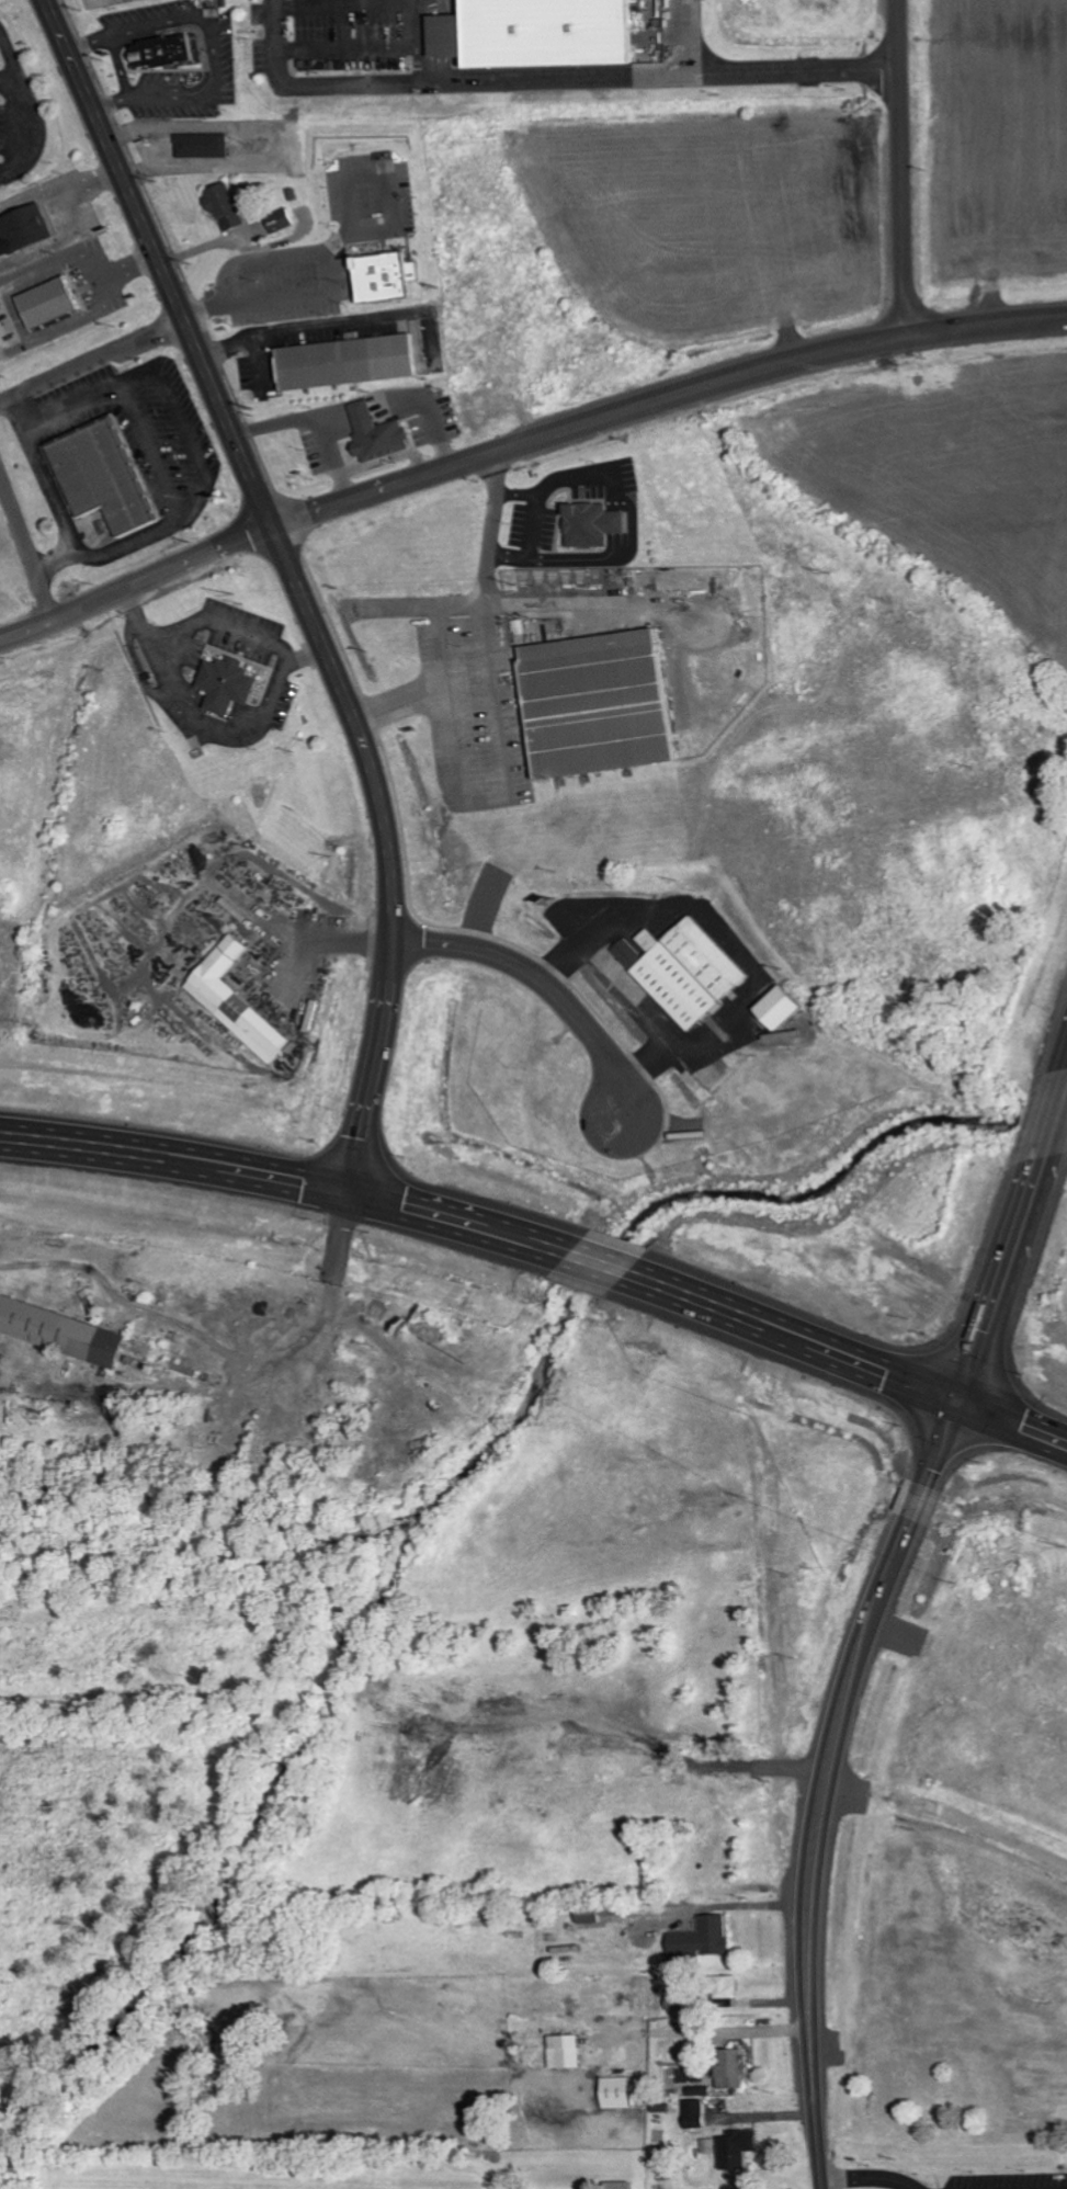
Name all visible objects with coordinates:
road: (348, 5)
building: (554, 31)
building: (453, 34)
road: (421, 42)
road: (348, 48)
building: (159, 50)
road: (795, 73)
road: (12, 79)
road: (476, 80)
road: (80, 81)
road: (35, 109)
building: (201, 145)
road: (901, 169)
building: (222, 205)
building: (279, 220)
building: (22, 229)
building: (378, 276)
building: (45, 302)
road: (91, 361)
building: (343, 361)
road: (663, 399)
building: (376, 434)
building: (98, 476)
building: (592, 524)
road: (287, 563)
road: (135, 576)
road: (137, 591)
building: (224, 684)
building: (592, 703)
road: (419, 941)
building: (681, 971)
road: (563, 995)
building: (235, 1002)
building: (775, 1008)
road: (374, 1081)
road: (1055, 1120)
road: (177, 1156)
traffic signals: (353, 1186)
road: (429, 1207)
road: (537, 1240)
road: (600, 1260)
road: (1002, 1279)
building: (59, 1332)
road: (795, 1334)
traffic signals: (962, 1402)
road: (1014, 1421)
road: (944, 1442)
road: (921, 1498)
road: (907, 1530)
road: (813, 1861)
building: (586, 1916)
building: (700, 1939)
building: (722, 1987)
building: (563, 2051)
building: (729, 2069)
building: (614, 2092)
building: (693, 2113)
building: (730, 2150)
road: (869, 2177)
parking lot: (1012, 2180)
building: (616, 2185)

